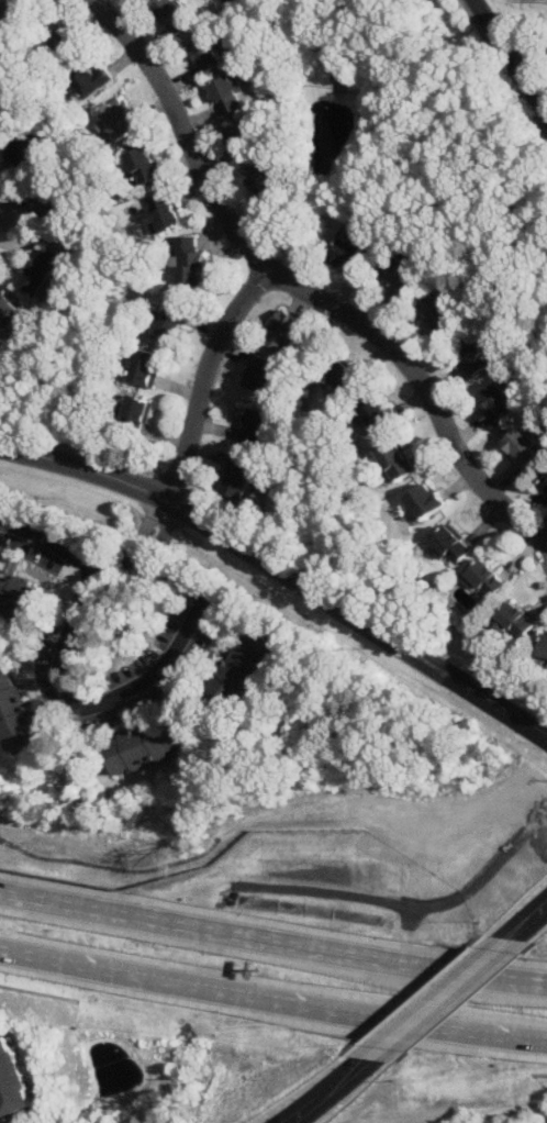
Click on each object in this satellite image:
building: (171, 15)
building: (11, 19)
building: (56, 41)
building: (546, 45)
building: (205, 54)
road: (510, 58)
building: (92, 79)
building: (225, 91)
road: (539, 92)
building: (120, 120)
building: (241, 143)
building: (27, 152)
building: (144, 166)
building: (260, 180)
building: (48, 205)
building: (164, 213)
building: (348, 253)
building: (190, 264)
building: (38, 270)
building: (397, 276)
road: (297, 288)
building: (8, 311)
building: (439, 312)
building: (169, 322)
building: (286, 332)
building: (473, 356)
building: (144, 366)
building: (260, 373)
building: (342, 376)
road: (205, 379)
building: (498, 401)
building: (137, 411)
building: (376, 413)
building: (256, 425)
building: (524, 446)
building: (395, 460)
building: (238, 478)
building: (545, 483)
building: (424, 500)
road: (47, 540)
road: (236, 540)
building: (451, 543)
road: (282, 551)
building: (487, 578)
building: (21, 597)
building: (514, 619)
building: (543, 646)
building: (546, 660)
building: (243, 668)
road: (457, 670)
road: (69, 702)
road: (500, 708)
building: (15, 714)
building: (146, 747)
road: (544, 905)
road: (517, 929)
road: (272, 944)
road: (437, 999)
road: (272, 1002)
road: (353, 1071)
building: (12, 1079)
road: (308, 1109)

